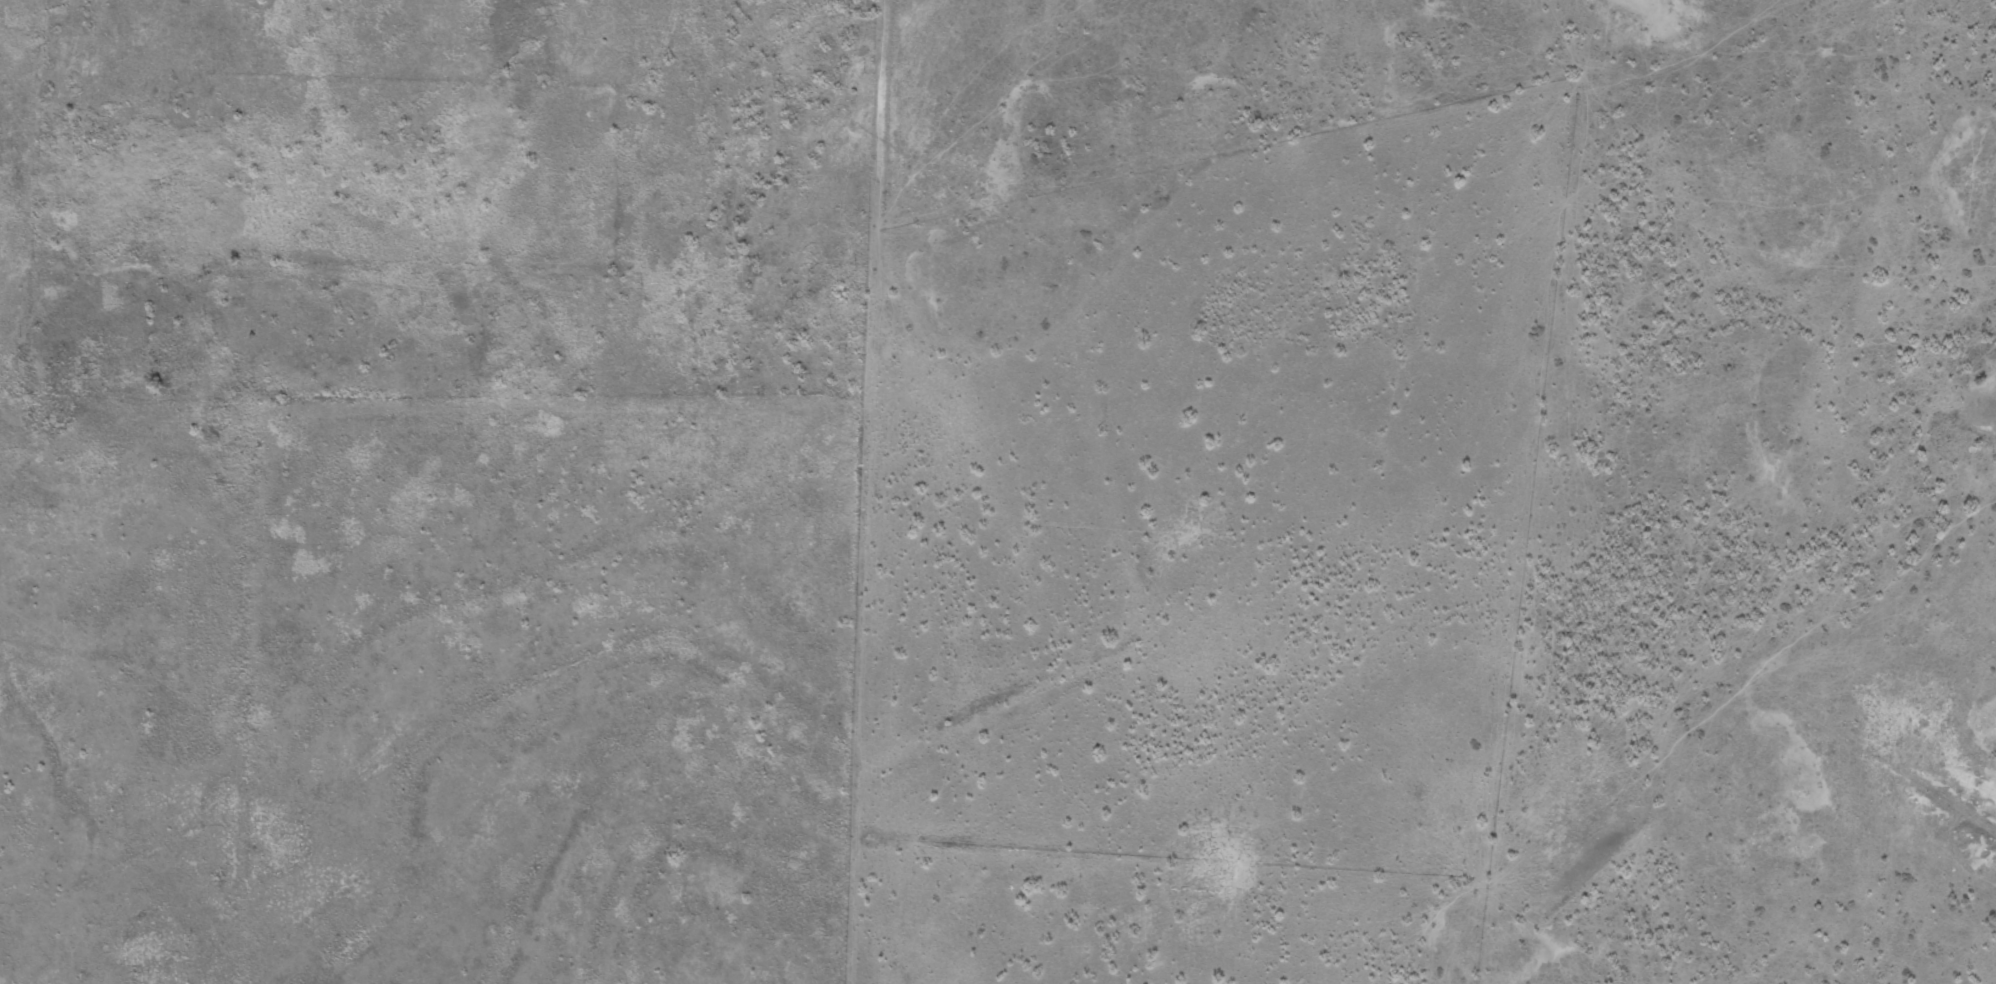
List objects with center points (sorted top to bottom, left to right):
road: (1671, 34)
road: (575, 196)
road: (100, 442)

